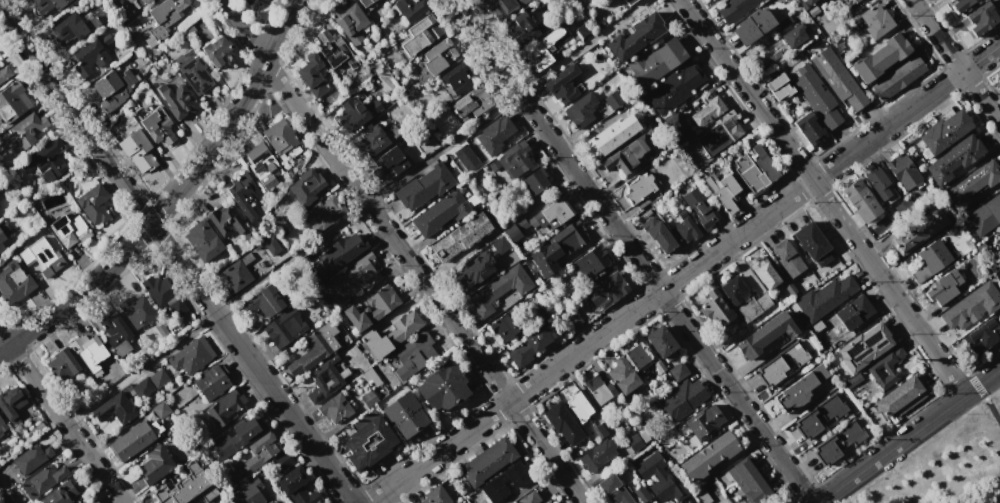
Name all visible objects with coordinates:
building: (244, 1)
building: (246, 1)
building: (629, 2)
building: (138, 3)
building: (366, 4)
building: (807, 4)
building: (839, 4)
building: (48, 5)
building: (961, 5)
building: (501, 6)
building: (407, 8)
building: (733, 8)
building: (812, 11)
building: (981, 18)
building: (163, 19)
building: (349, 20)
building: (875, 21)
building: (752, 25)
building: (74, 27)
building: (526, 27)
building: (580, 30)
building: (418, 34)
building: (794, 36)
building: (635, 37)
building: (106, 40)
building: (839, 45)
building: (332, 49)
building: (215, 50)
building: (881, 55)
building: (439, 56)
building: (536, 57)
building: (89, 58)
building: (655, 61)
road: (955, 62)
building: (4, 73)
building: (194, 75)
building: (312, 75)
building: (456, 78)
building: (838, 78)
building: (898, 78)
building: (999, 82)
building: (563, 85)
building: (779, 87)
building: (113, 88)
building: (673, 88)
building: (816, 96)
building: (613, 100)
building: (177, 101)
building: (472, 101)
building: (12, 102)
building: (706, 109)
building: (580, 110)
building: (356, 113)
building: (674, 122)
building: (157, 126)
building: (809, 128)
building: (25, 132)
building: (689, 133)
building: (718, 133)
building: (943, 133)
building: (494, 135)
building: (612, 135)
building: (281, 138)
building: (374, 140)
road: (442, 148)
building: (137, 151)
building: (457, 155)
building: (626, 155)
building: (516, 158)
building: (953, 158)
building: (44, 160)
building: (388, 162)
building: (919, 162)
building: (262, 166)
building: (755, 169)
building: (902, 171)
building: (535, 180)
building: (971, 184)
building: (878, 185)
building: (305, 186)
building: (424, 187)
building: (639, 190)
building: (722, 190)
building: (243, 193)
road: (822, 197)
road: (173, 198)
building: (860, 200)
building: (93, 204)
building: (700, 207)
building: (442, 212)
building: (322, 213)
building: (984, 215)
building: (542, 218)
building: (226, 220)
building: (685, 228)
building: (69, 230)
building: (919, 232)
building: (462, 236)
building: (659, 236)
building: (2, 237)
building: (202, 240)
building: (813, 243)
building: (500, 245)
building: (1, 247)
building: (557, 248)
road: (401, 251)
road: (631, 251)
building: (337, 254)
building: (41, 256)
road: (176, 258)
building: (786, 258)
building: (930, 260)
building: (590, 263)
building: (476, 269)
building: (238, 273)
road: (684, 273)
building: (764, 273)
building: (351, 279)
building: (14, 281)
building: (787, 287)
building: (943, 287)
building: (499, 289)
building: (607, 290)
building: (162, 294)
building: (823, 298)
building: (743, 299)
building: (265, 300)
building: (969, 308)
building: (382, 309)
building: (136, 310)
building: (550, 311)
building: (719, 313)
building: (853, 313)
building: (573, 318)
building: (508, 324)
building: (816, 326)
building: (284, 327)
building: (113, 330)
building: (987, 332)
building: (391, 334)
building: (764, 335)
building: (660, 341)
building: (530, 344)
building: (864, 347)
building: (314, 349)
building: (89, 352)
building: (413, 355)
building: (190, 356)
building: (635, 356)
building: (61, 364)
building: (781, 364)
building: (659, 366)
building: (885, 368)
building: (677, 371)
building: (882, 372)
building: (622, 376)
building: (157, 378)
building: (324, 378)
building: (335, 380)
building: (212, 381)
building: (852, 381)
building: (442, 386)
building: (142, 388)
building: (799, 389)
building: (598, 390)
building: (901, 396)
building: (681, 398)
building: (368, 399)
building: (10, 403)
building: (578, 406)
building: (225, 407)
building: (115, 409)
building: (160, 409)
building: (333, 410)
building: (404, 414)
building: (820, 415)
road: (61, 418)
building: (617, 420)
building: (703, 421)
building: (563, 423)
building: (2, 427)
building: (603, 428)
road: (908, 436)
building: (237, 437)
building: (133, 439)
building: (370, 441)
building: (839, 441)
building: (386, 443)
building: (634, 443)
building: (259, 452)
building: (597, 455)
building: (708, 456)
building: (31, 458)
park: (938, 458)
building: (282, 459)
building: (485, 463)
building: (155, 465)
building: (745, 476)
building: (658, 479)
building: (42, 480)
building: (496, 482)
building: (296, 486)
building: (185, 487)
building: (614, 490)
building: (62, 493)
building: (248, 493)
building: (640, 493)
road: (994, 494)
building: (702, 495)
building: (435, 496)
building: (528, 498)
building: (3, 499)
building: (80, 502)
building: (94, 502)
building: (269, 502)

